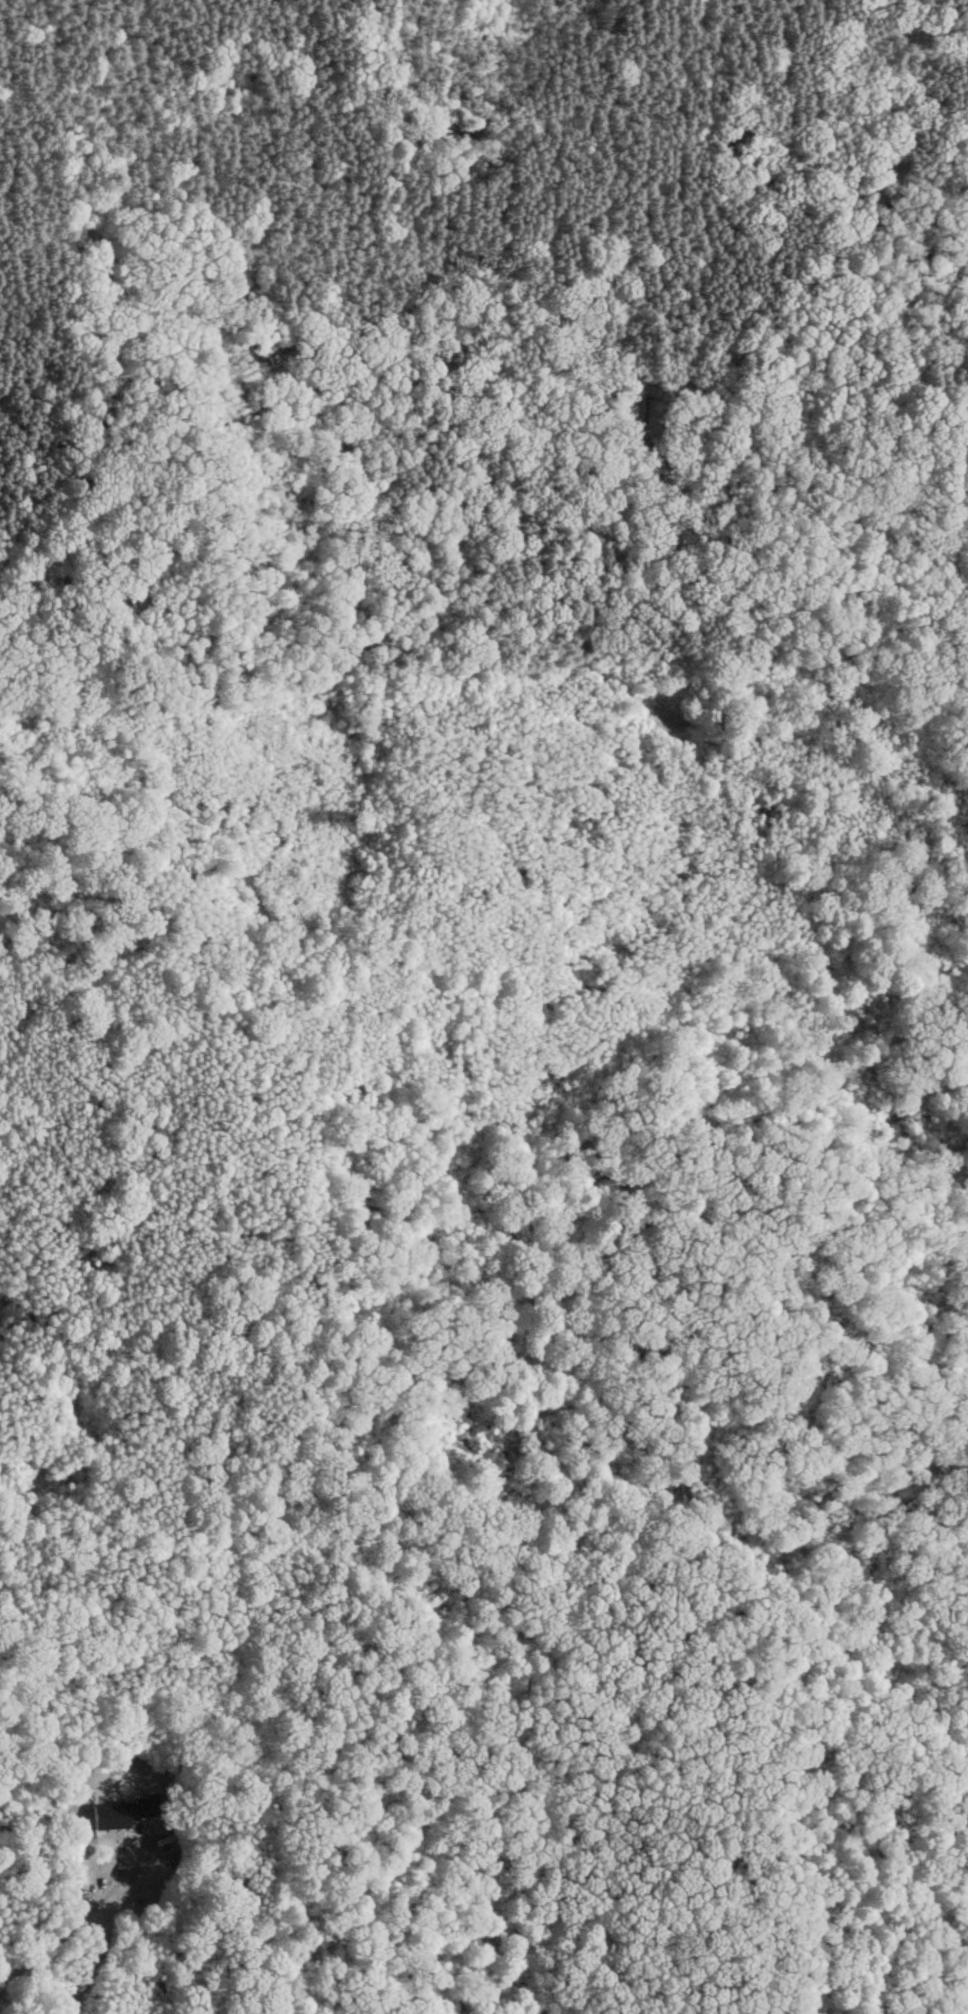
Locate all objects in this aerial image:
building: (120, 1814)

